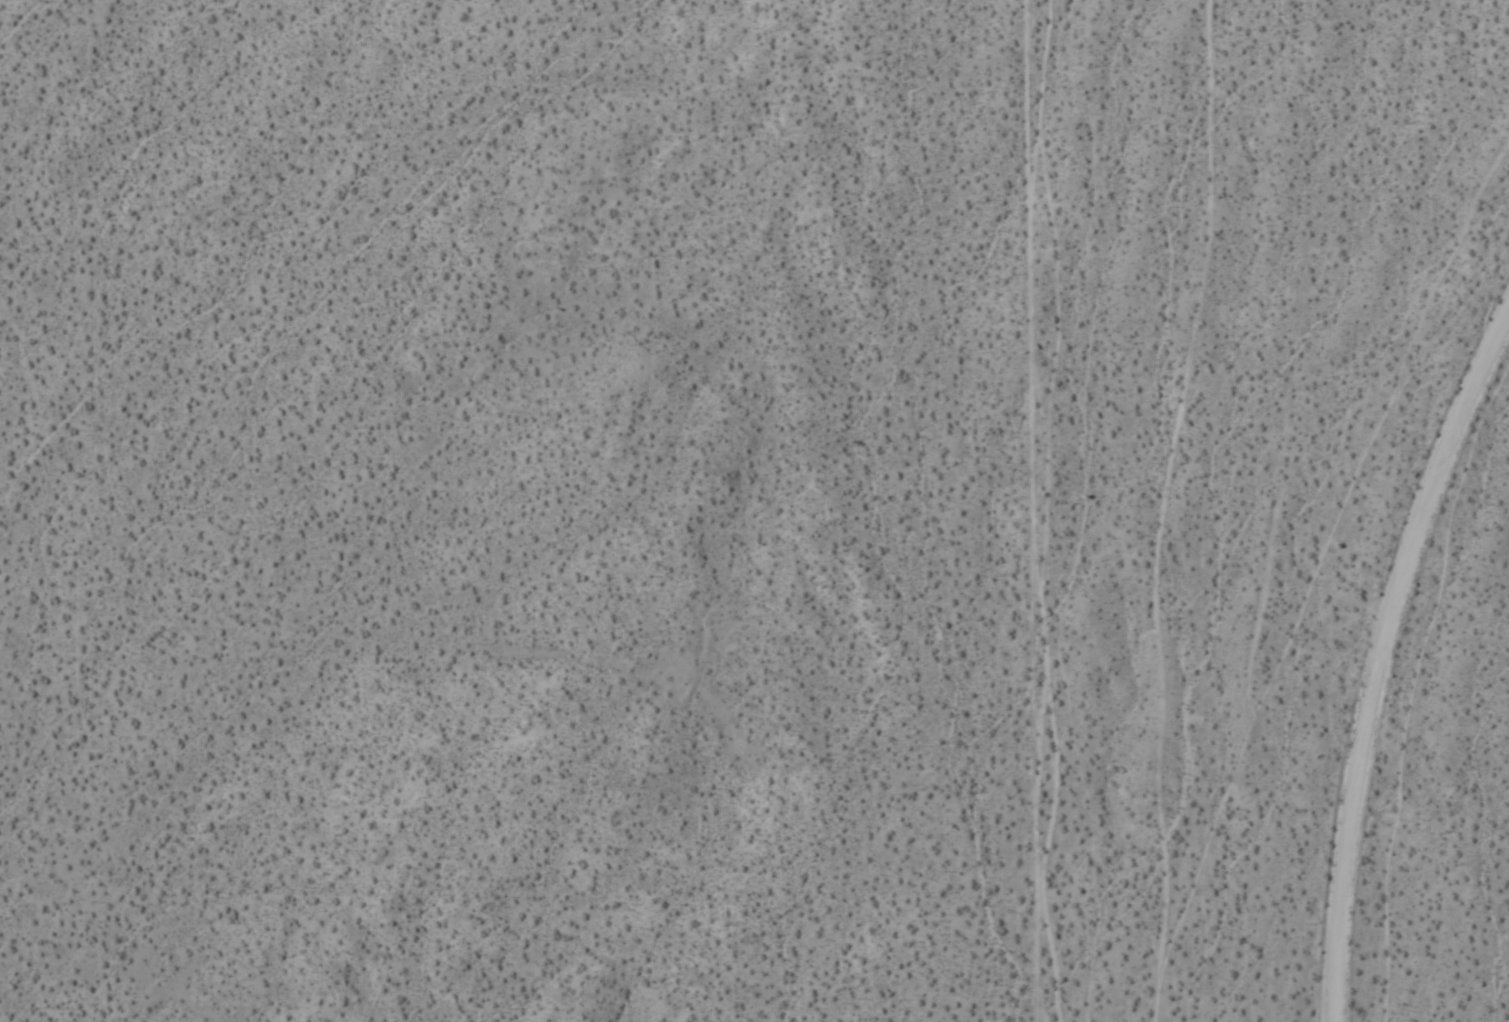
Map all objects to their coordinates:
crop: (1302, 508)
road: (1381, 657)

